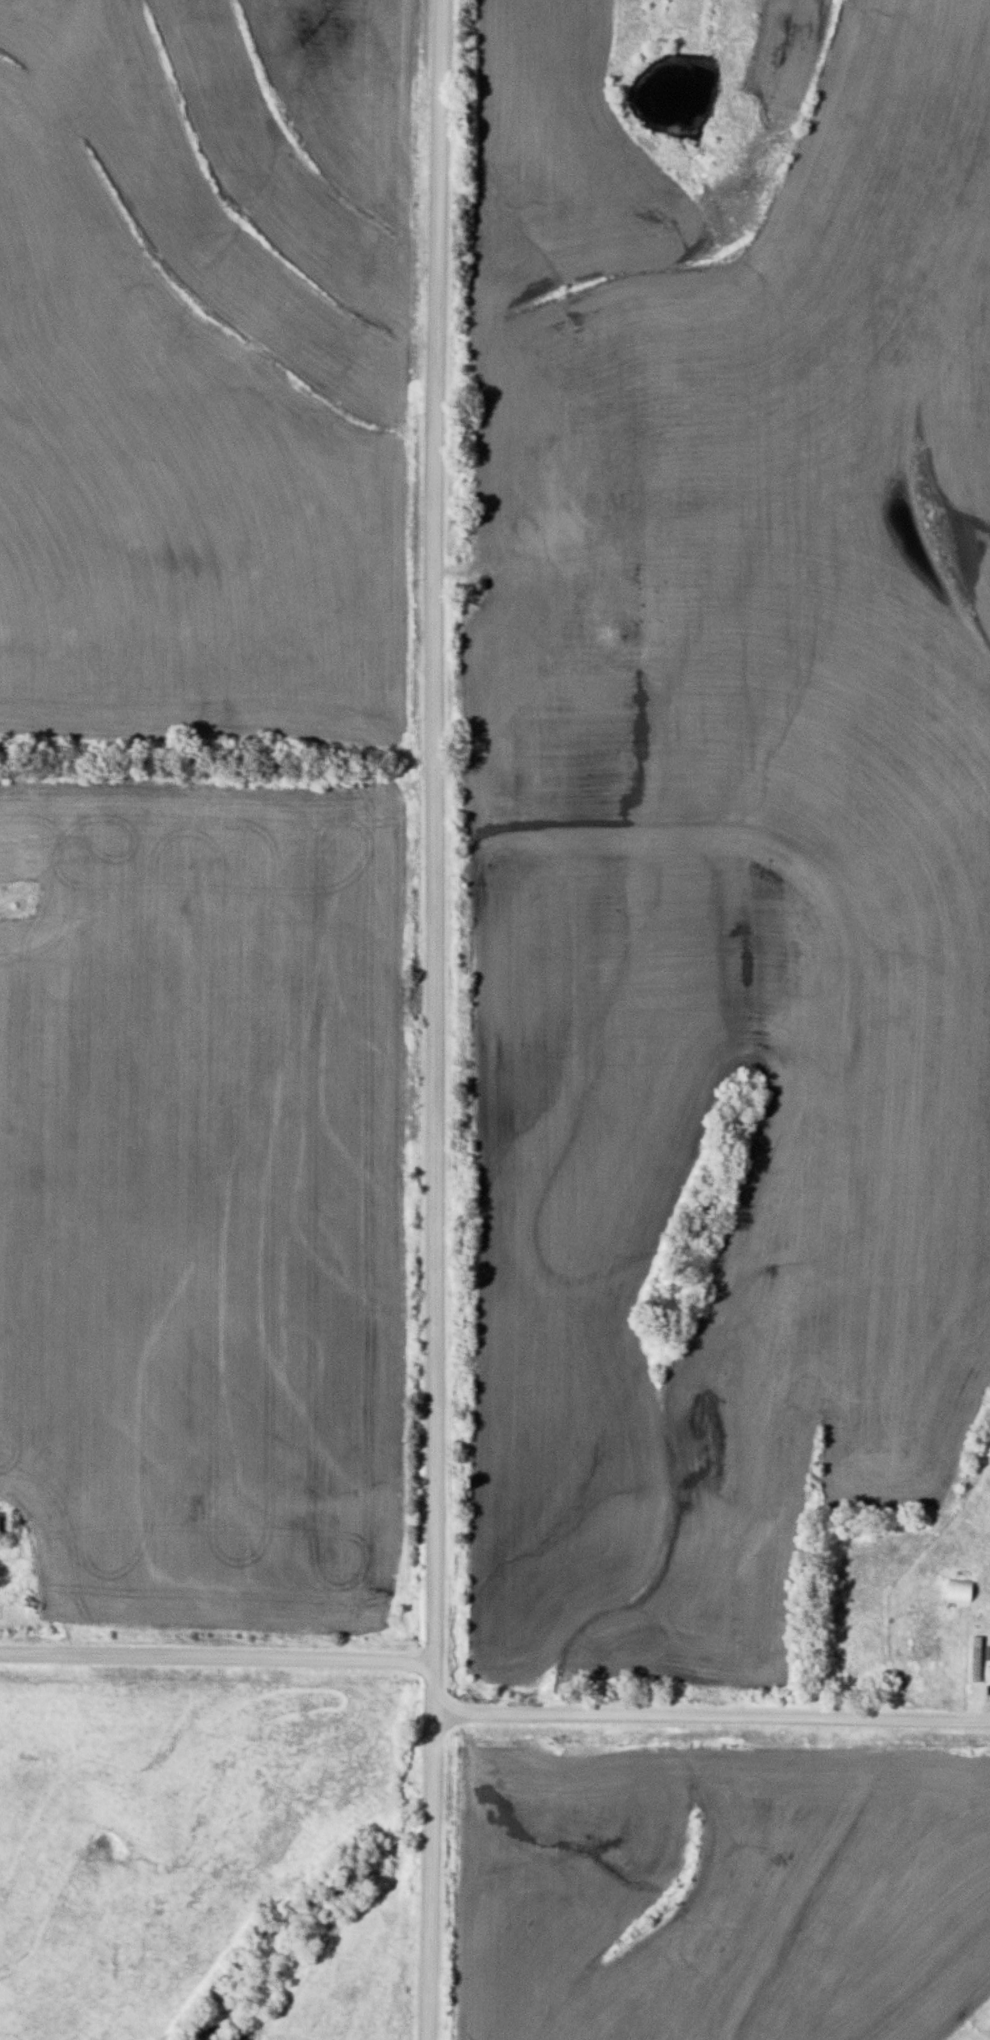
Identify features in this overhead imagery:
road: (437, 1019)
building: (4, 1525)
building: (956, 1588)
road: (218, 1655)
building: (976, 1656)
road: (713, 1712)

